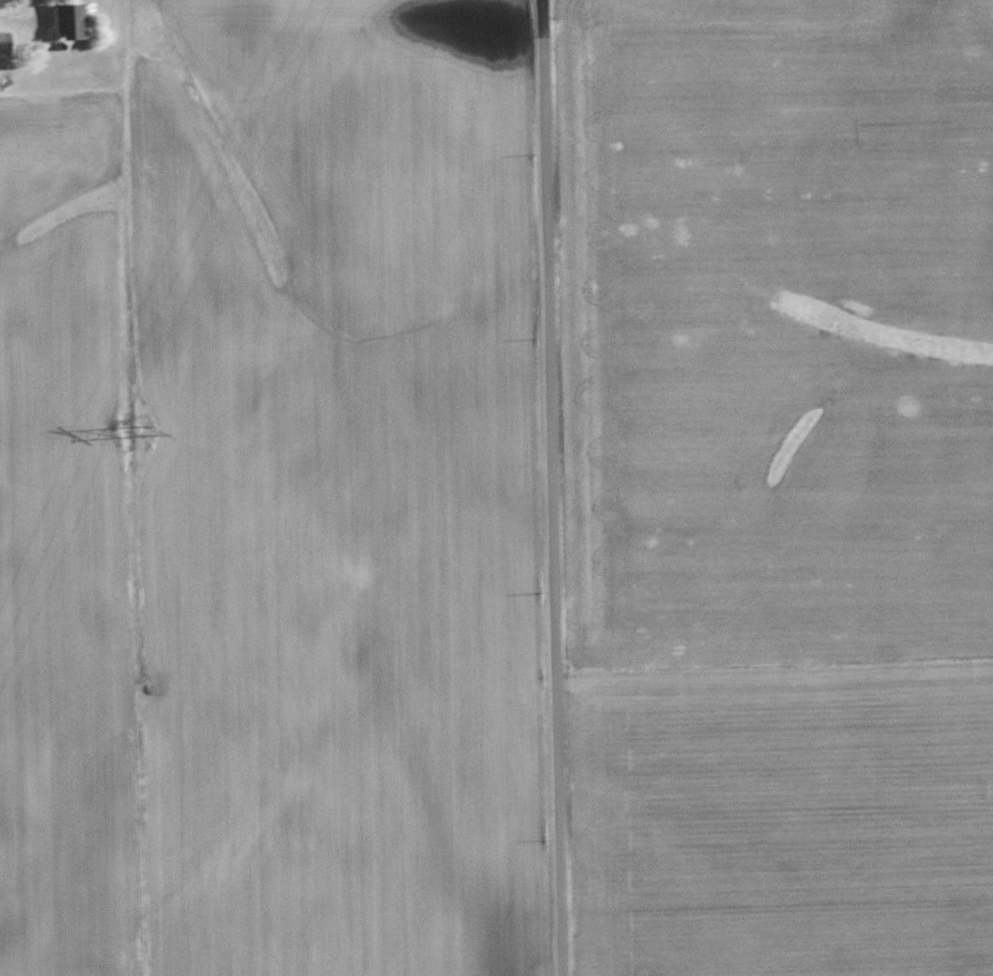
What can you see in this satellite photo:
building: (71, 20)
building: (3, 45)
power tower: (148, 432)
road: (552, 487)

